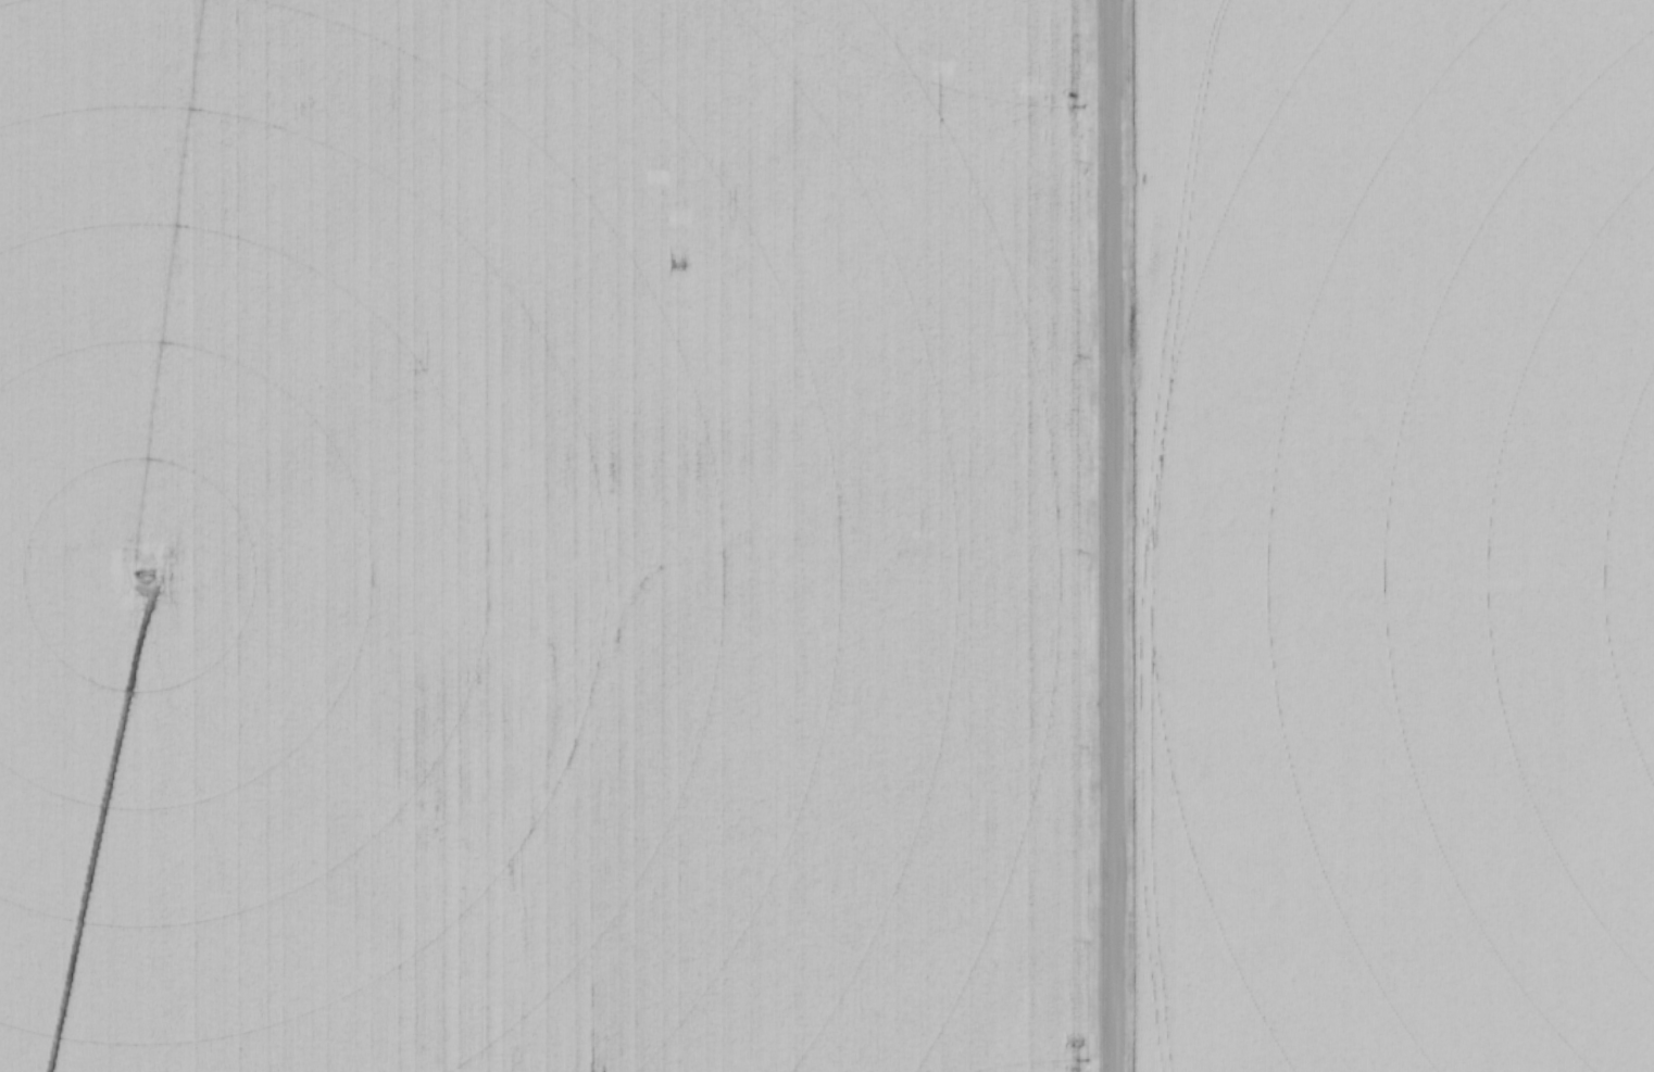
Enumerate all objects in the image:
road: (1104, 535)
building: (1350, 580)

